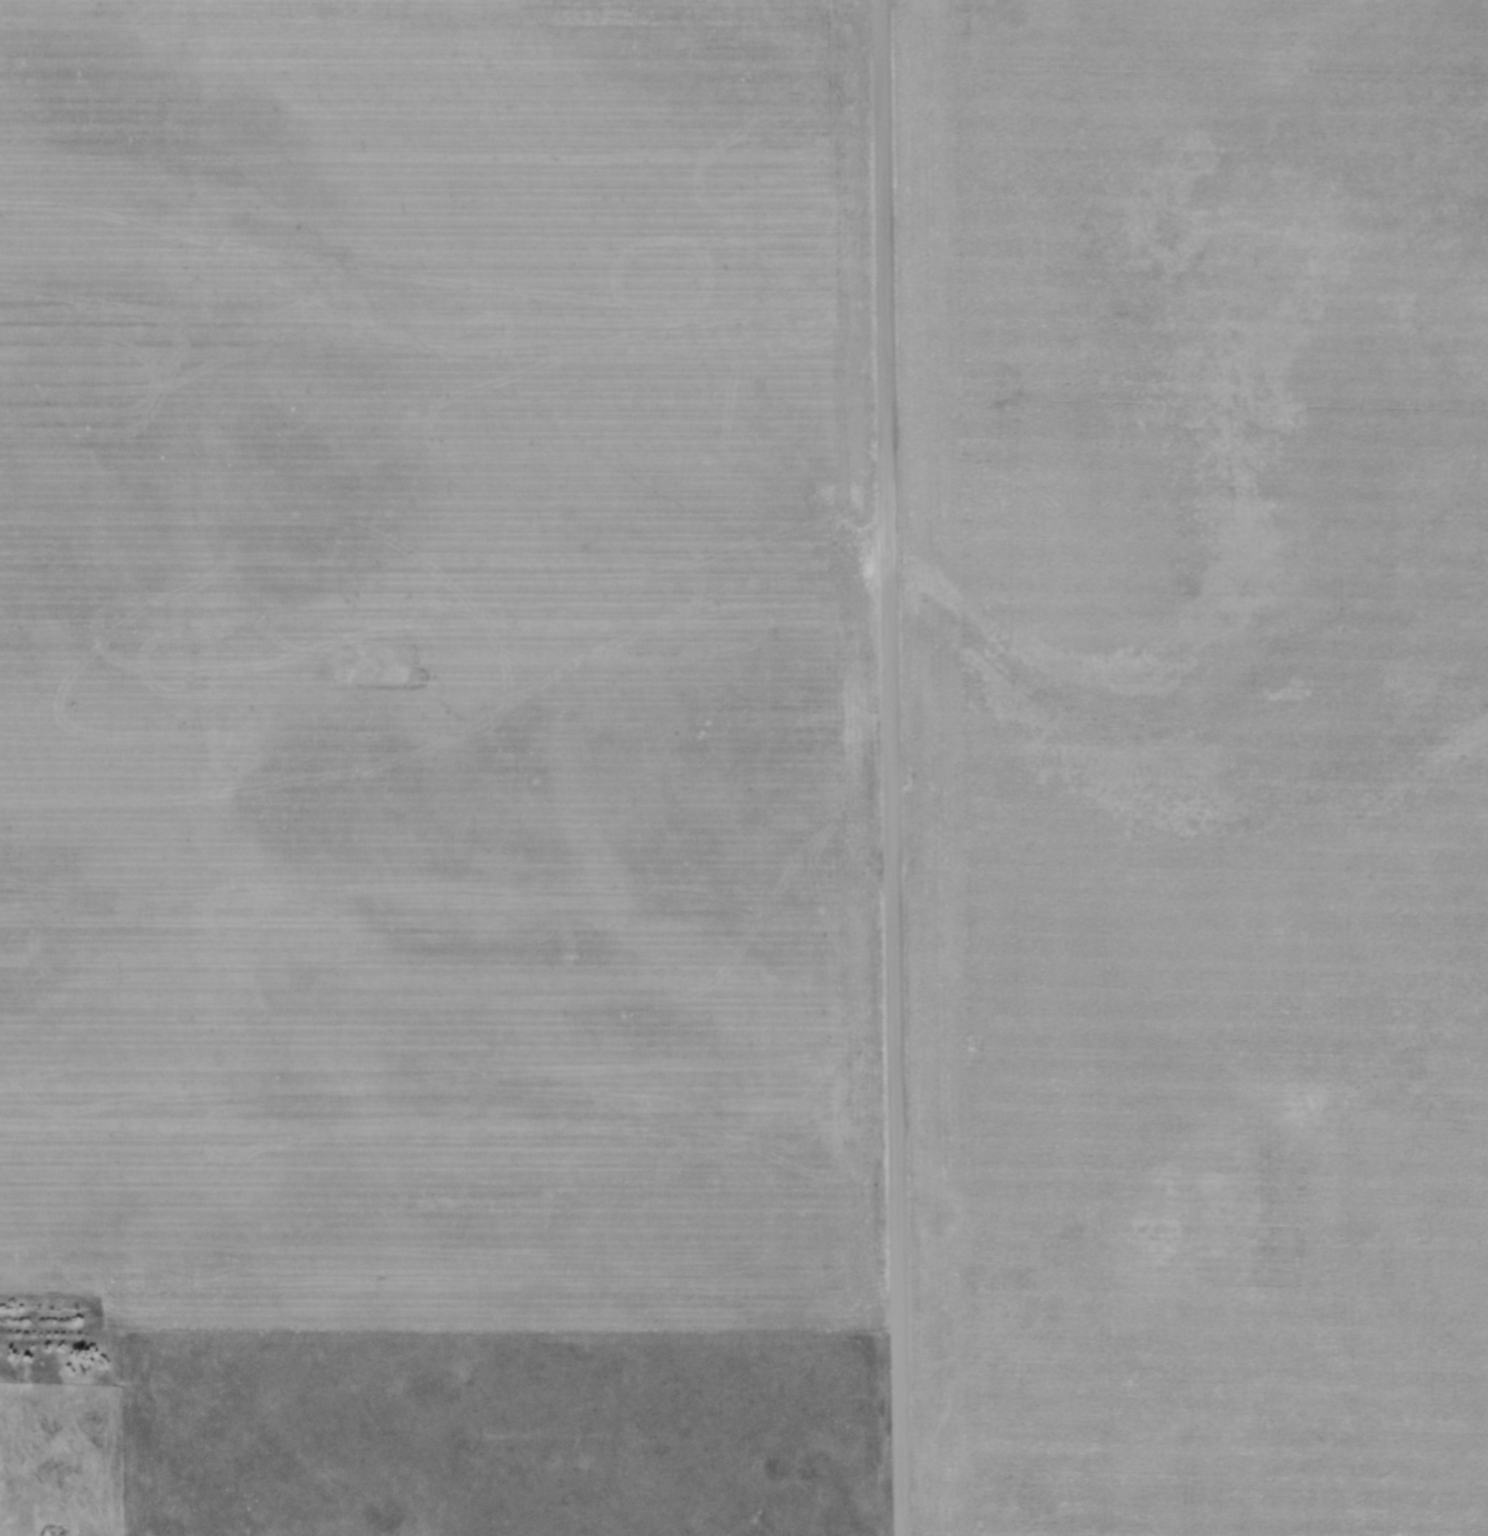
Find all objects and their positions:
crop: (437, 667)
road: (894, 767)

